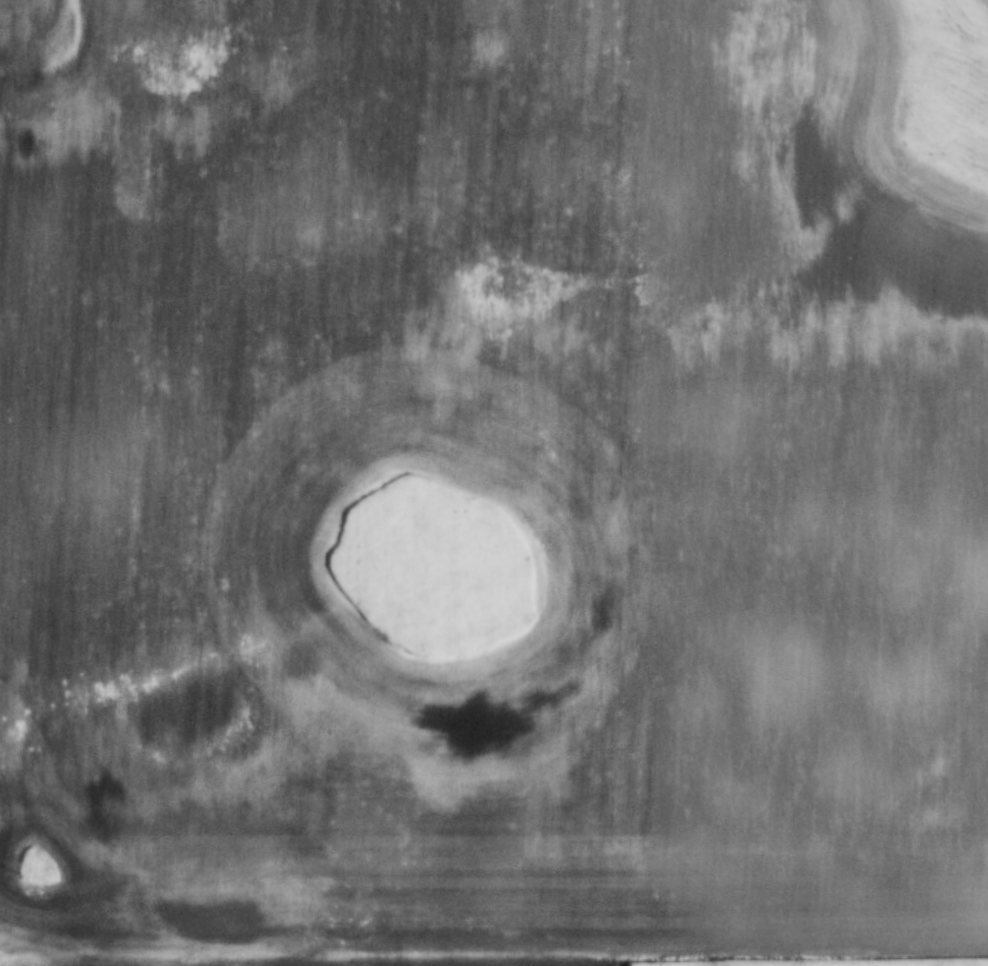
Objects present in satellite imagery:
road: (493, 943)

